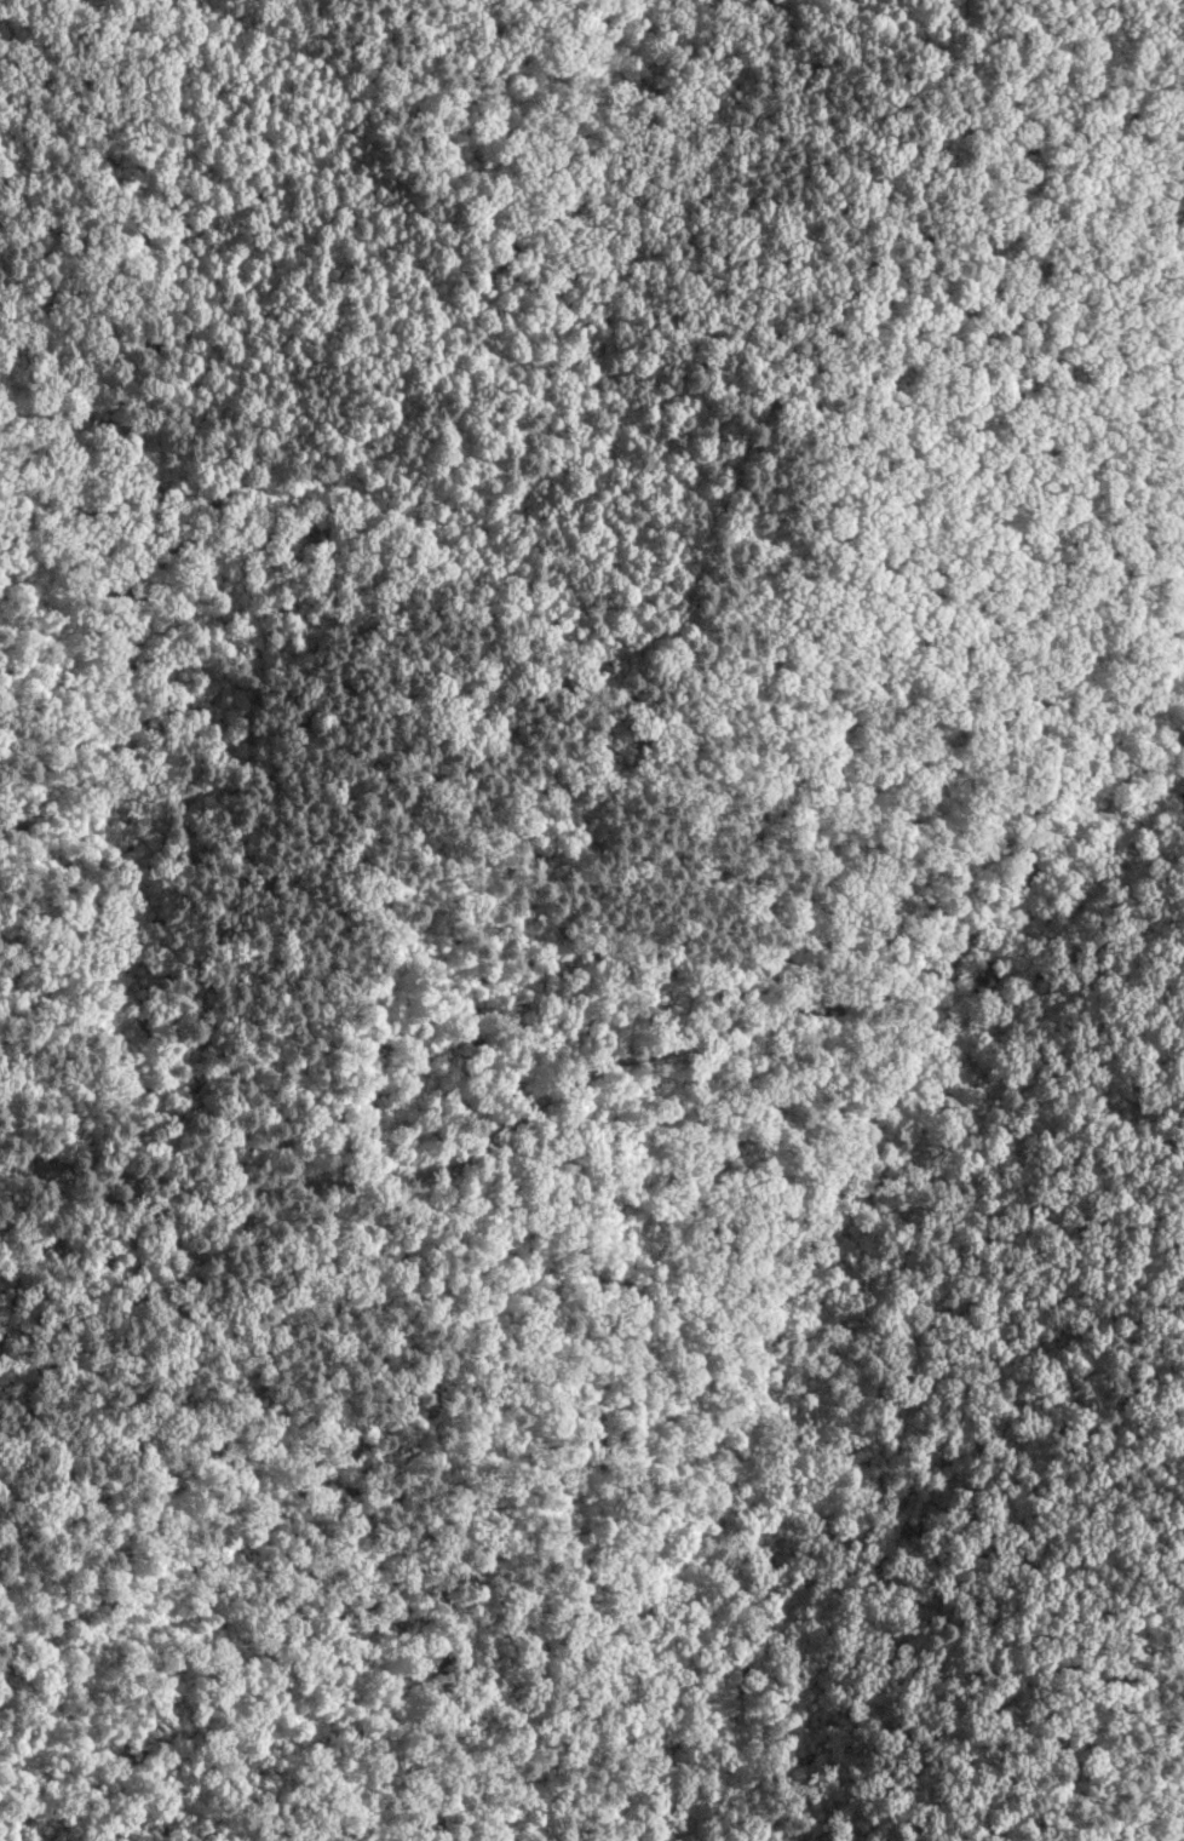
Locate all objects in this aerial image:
road: (632, 1059)

